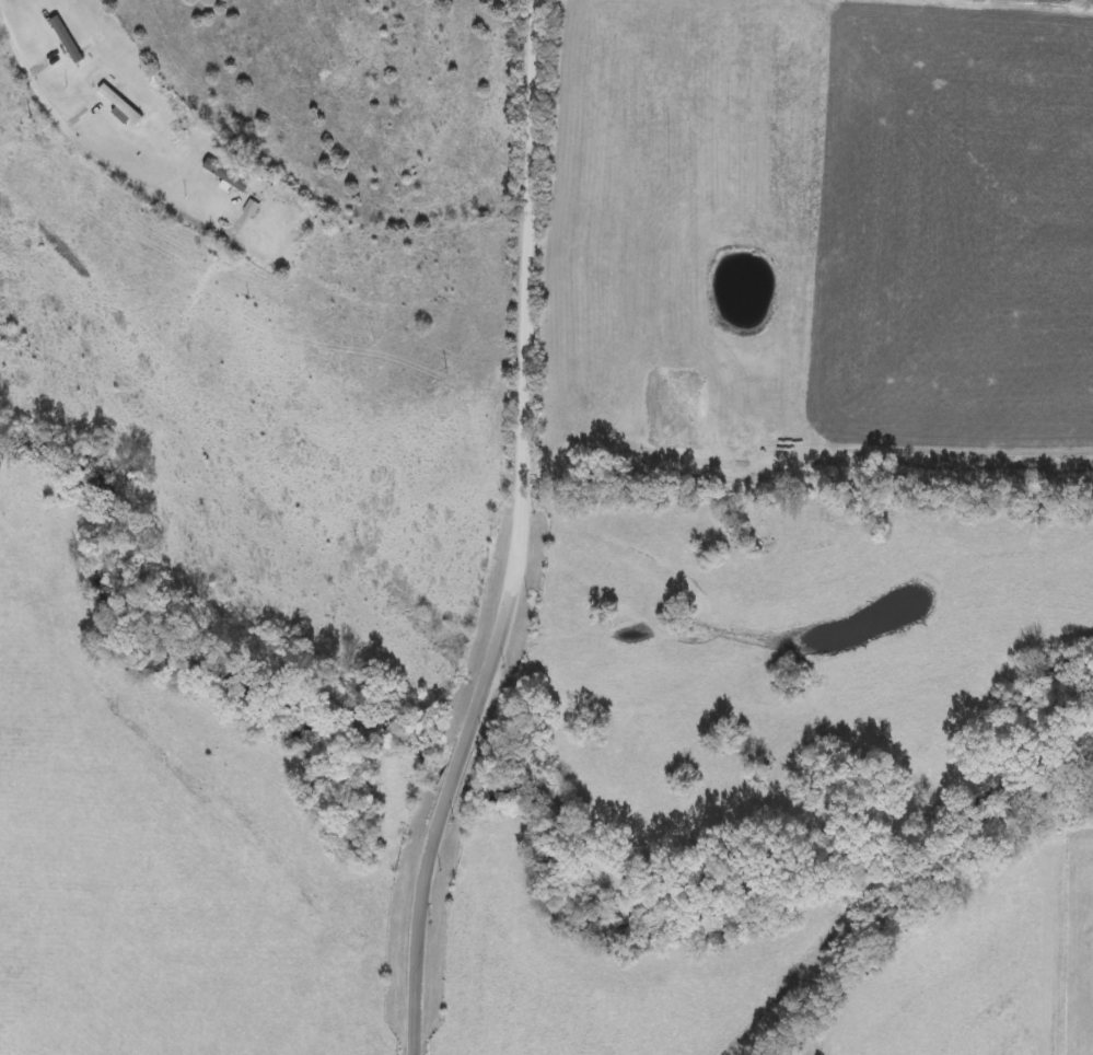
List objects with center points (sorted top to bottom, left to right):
building: (66, 42)
building: (119, 105)
road: (91, 151)
building: (224, 177)
road: (515, 534)

